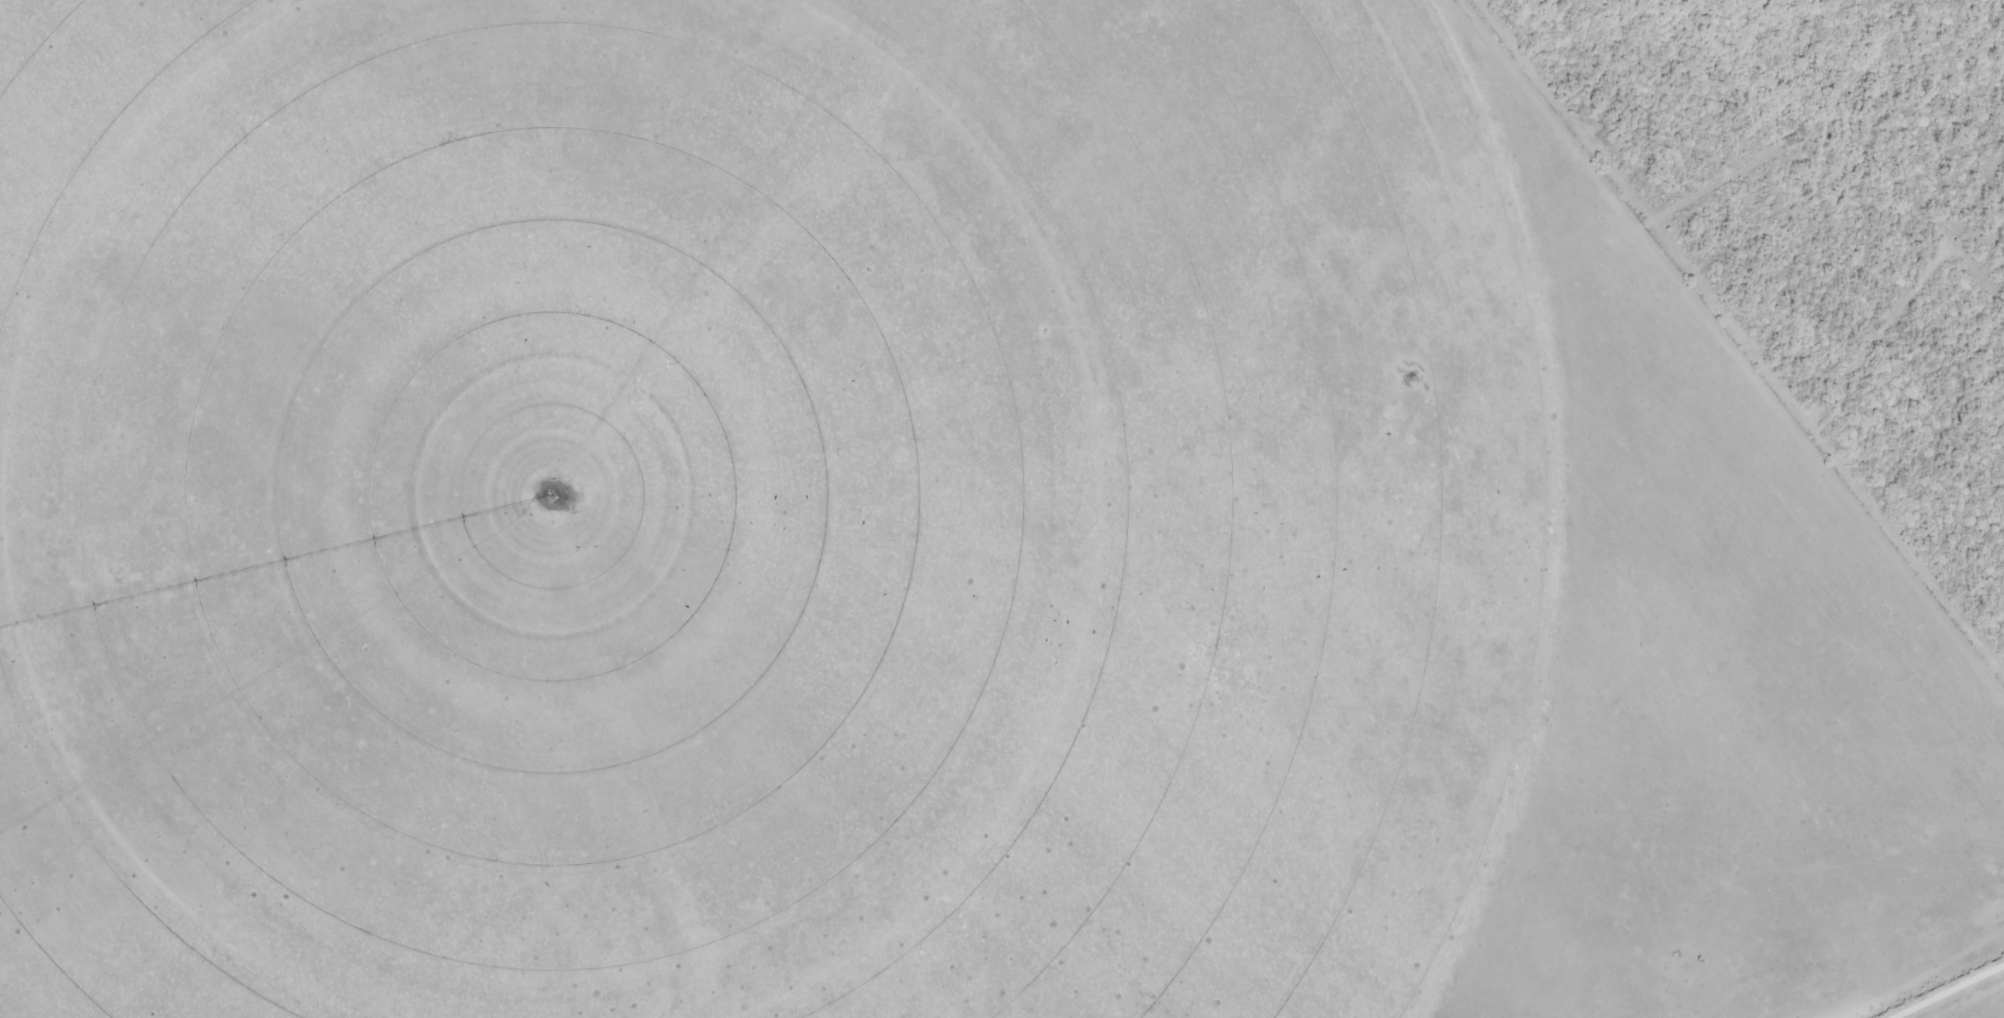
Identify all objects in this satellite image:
road: (1950, 992)

